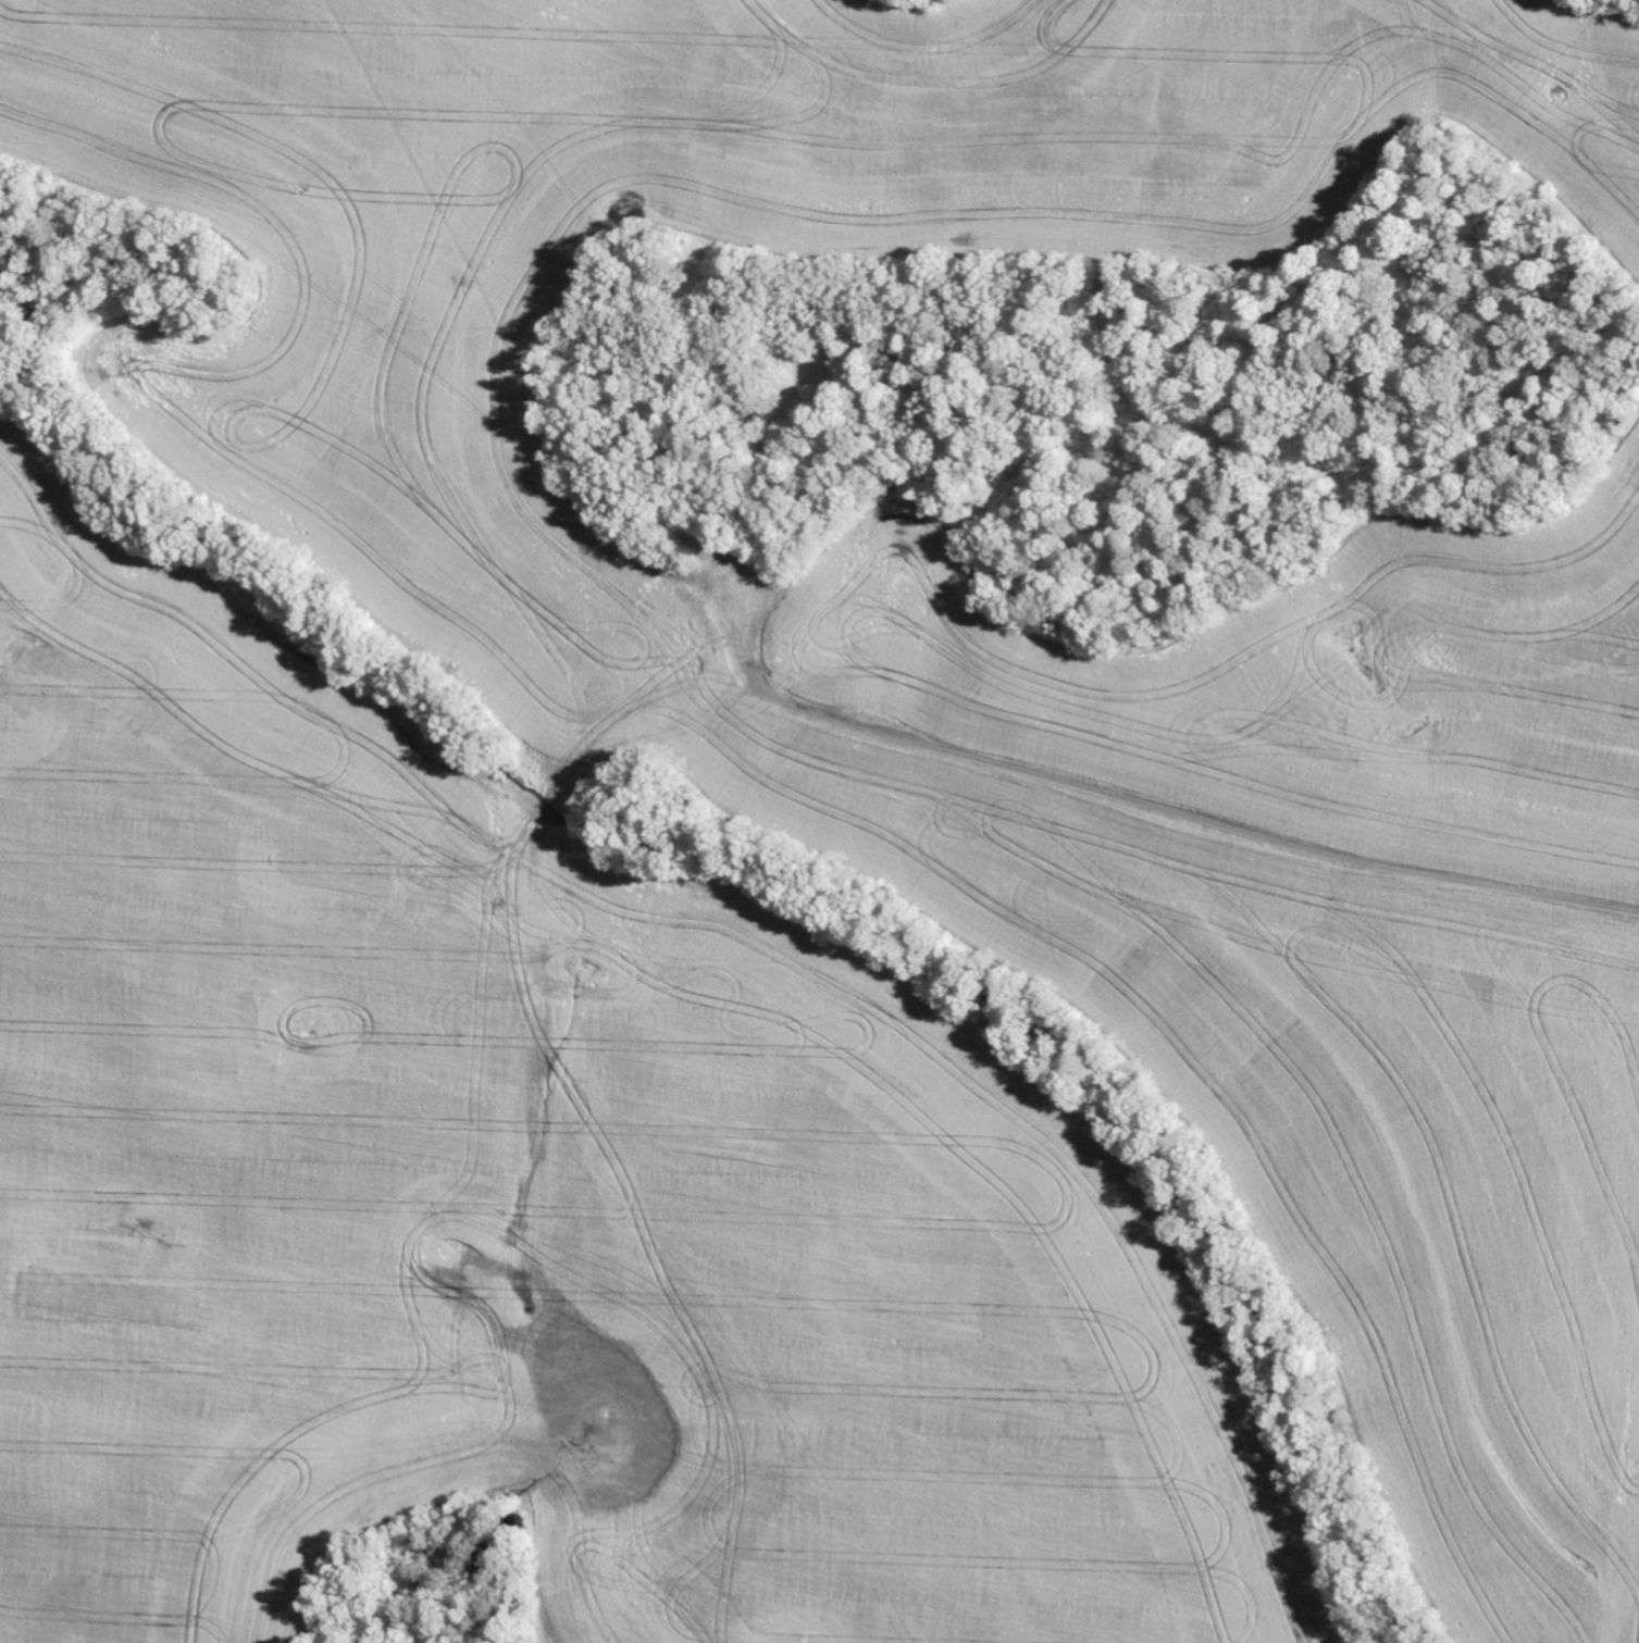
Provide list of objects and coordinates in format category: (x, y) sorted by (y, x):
road: (617, 384)
road: (1044, 804)

